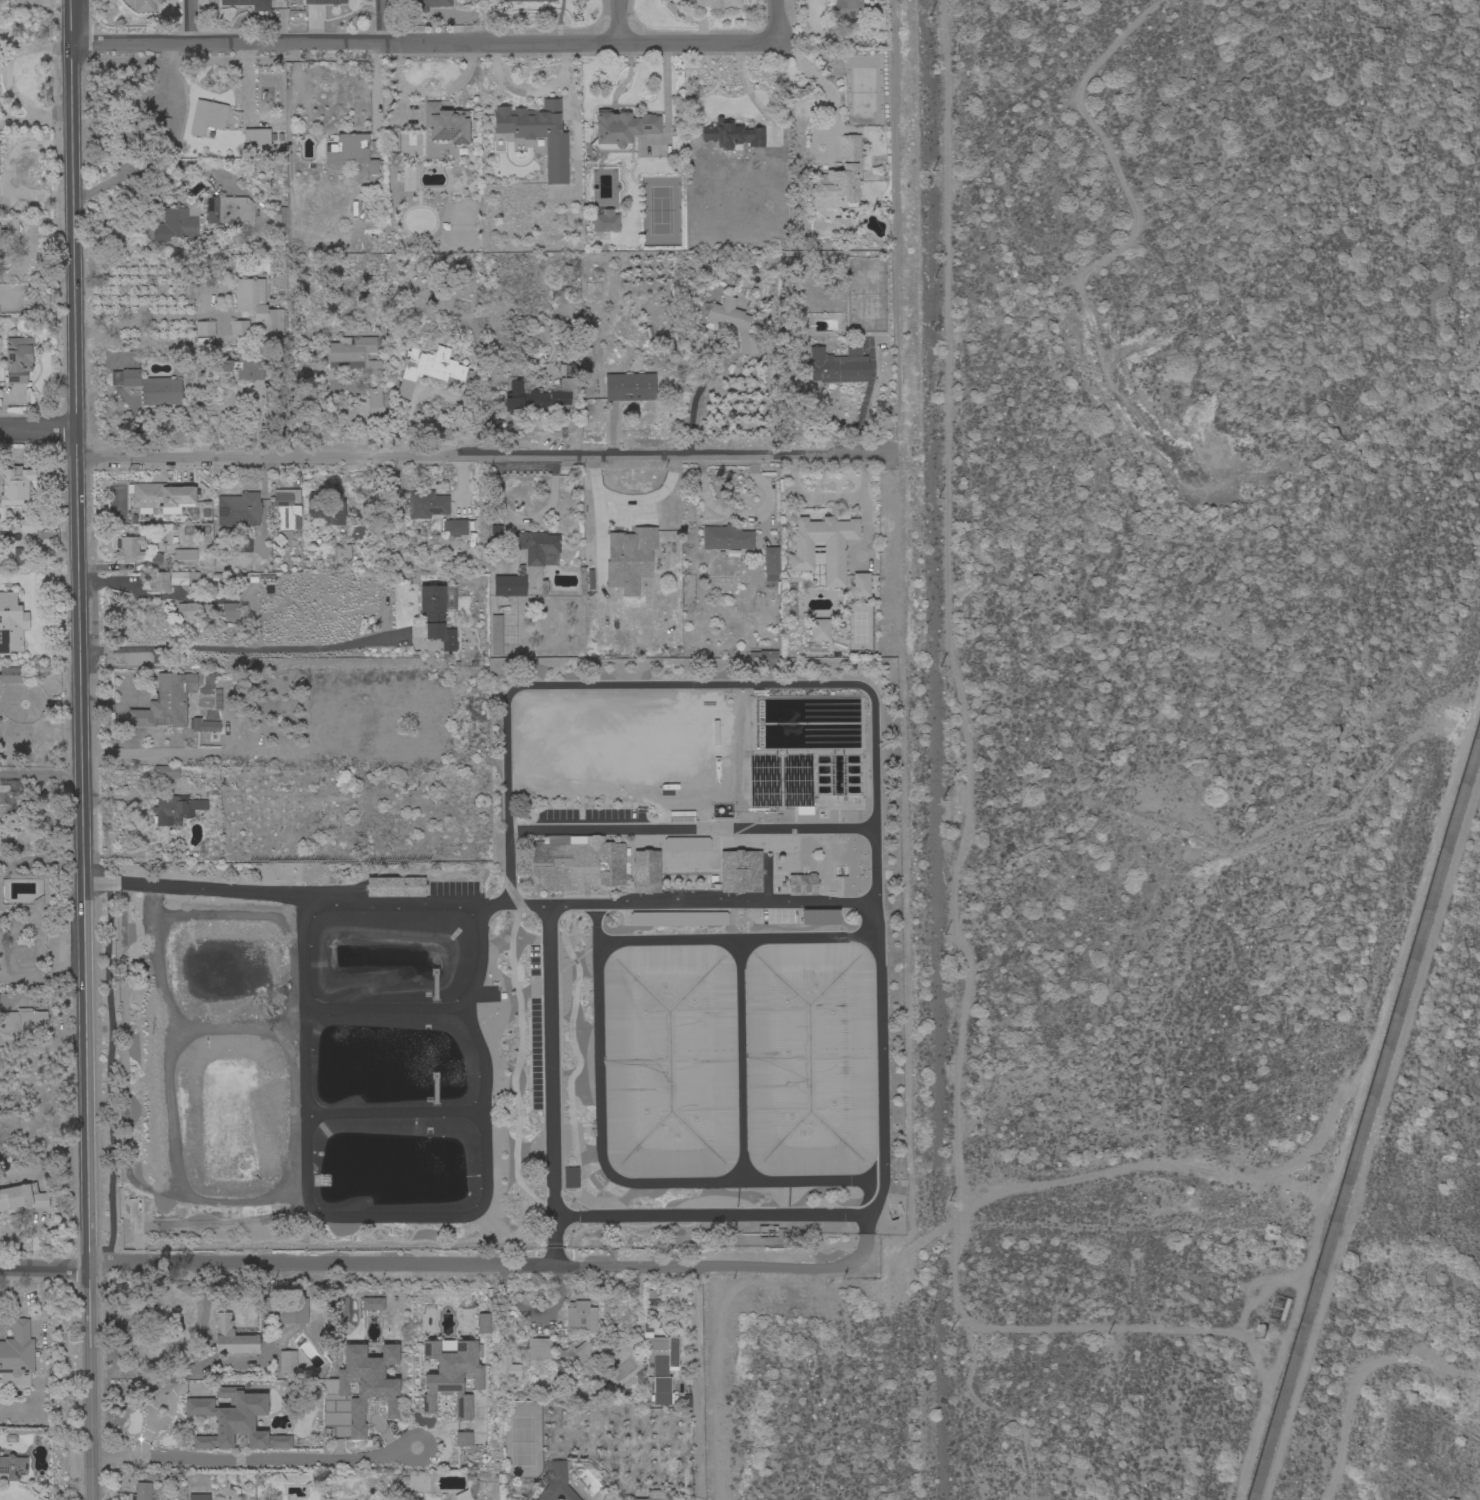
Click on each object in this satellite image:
building: (530, 0)
building: (681, 1)
building: (324, 2)
building: (716, 3)
building: (248, 4)
building: (145, 5)
building: (427, 5)
building: (852, 9)
road: (191, 20)
road: (619, 20)
road: (381, 21)
road: (776, 21)
road: (424, 41)
road: (5, 59)
road: (825, 88)
road: (373, 89)
road: (430, 92)
road: (45, 111)
building: (207, 116)
road: (13, 123)
building: (445, 123)
building: (622, 128)
building: (536, 134)
building: (731, 135)
building: (256, 137)
building: (375, 147)
building: (350, 151)
road: (154, 164)
building: (838, 179)
building: (229, 212)
building: (278, 220)
building: (603, 220)
building: (178, 223)
building: (840, 224)
building: (9, 235)
building: (257, 306)
road: (151, 316)
building: (732, 322)
building: (238, 328)
building: (204, 330)
building: (18, 359)
building: (357, 364)
building: (838, 364)
building: (245, 367)
building: (427, 368)
building: (149, 387)
building: (629, 387)
building: (270, 395)
building: (538, 395)
road: (696, 397)
road: (864, 400)
building: (492, 427)
road: (38, 430)
road: (484, 457)
building: (15, 485)
building: (160, 497)
road: (630, 501)
building: (425, 504)
building: (286, 508)
building: (238, 509)
building: (323, 510)
road: (741, 513)
building: (25, 525)
building: (454, 527)
building: (356, 532)
building: (4, 536)
building: (726, 537)
building: (239, 545)
building: (534, 545)
building: (822, 546)
building: (129, 549)
building: (341, 553)
building: (184, 554)
building: (20, 556)
building: (629, 558)
building: (155, 560)
building: (770, 563)
building: (183, 578)
building: (589, 579)
building: (157, 581)
building: (860, 585)
building: (509, 586)
building: (229, 610)
building: (187, 611)
building: (438, 614)
building: (11, 623)
building: (818, 629)
building: (495, 635)
road: (239, 649)
building: (763, 654)
building: (11, 675)
building: (165, 701)
building: (203, 725)
road: (79, 750)
road: (187, 755)
building: (165, 772)
road: (40, 775)
building: (780, 783)
building: (9, 796)
road: (873, 808)
building: (175, 809)
building: (681, 819)
road: (689, 830)
building: (686, 844)
road: (41, 859)
building: (576, 866)
building: (740, 871)
building: (645, 872)
building: (802, 884)
building: (394, 886)
road: (298, 894)
road: (711, 903)
building: (818, 917)
building: (677, 918)
building: (22, 1021)
road: (548, 1087)
building: (22, 1197)
road: (44, 1268)
road: (393, 1268)
road: (803, 1268)
building: (371, 1304)
building: (292, 1310)
building: (580, 1316)
building: (481, 1323)
building: (232, 1337)
building: (539, 1348)
building: (582, 1351)
building: (16, 1356)
building: (287, 1362)
building: (506, 1366)
building: (657, 1368)
building: (450, 1374)
building: (366, 1383)
road: (696, 1386)
building: (233, 1420)
building: (462, 1438)
road: (252, 1451)
building: (13, 1467)
building: (555, 1483)
building: (142, 1491)
building: (467, 1491)
building: (611, 1494)
building: (658, 1495)
building: (198, 1497)
building: (419, 1499)

